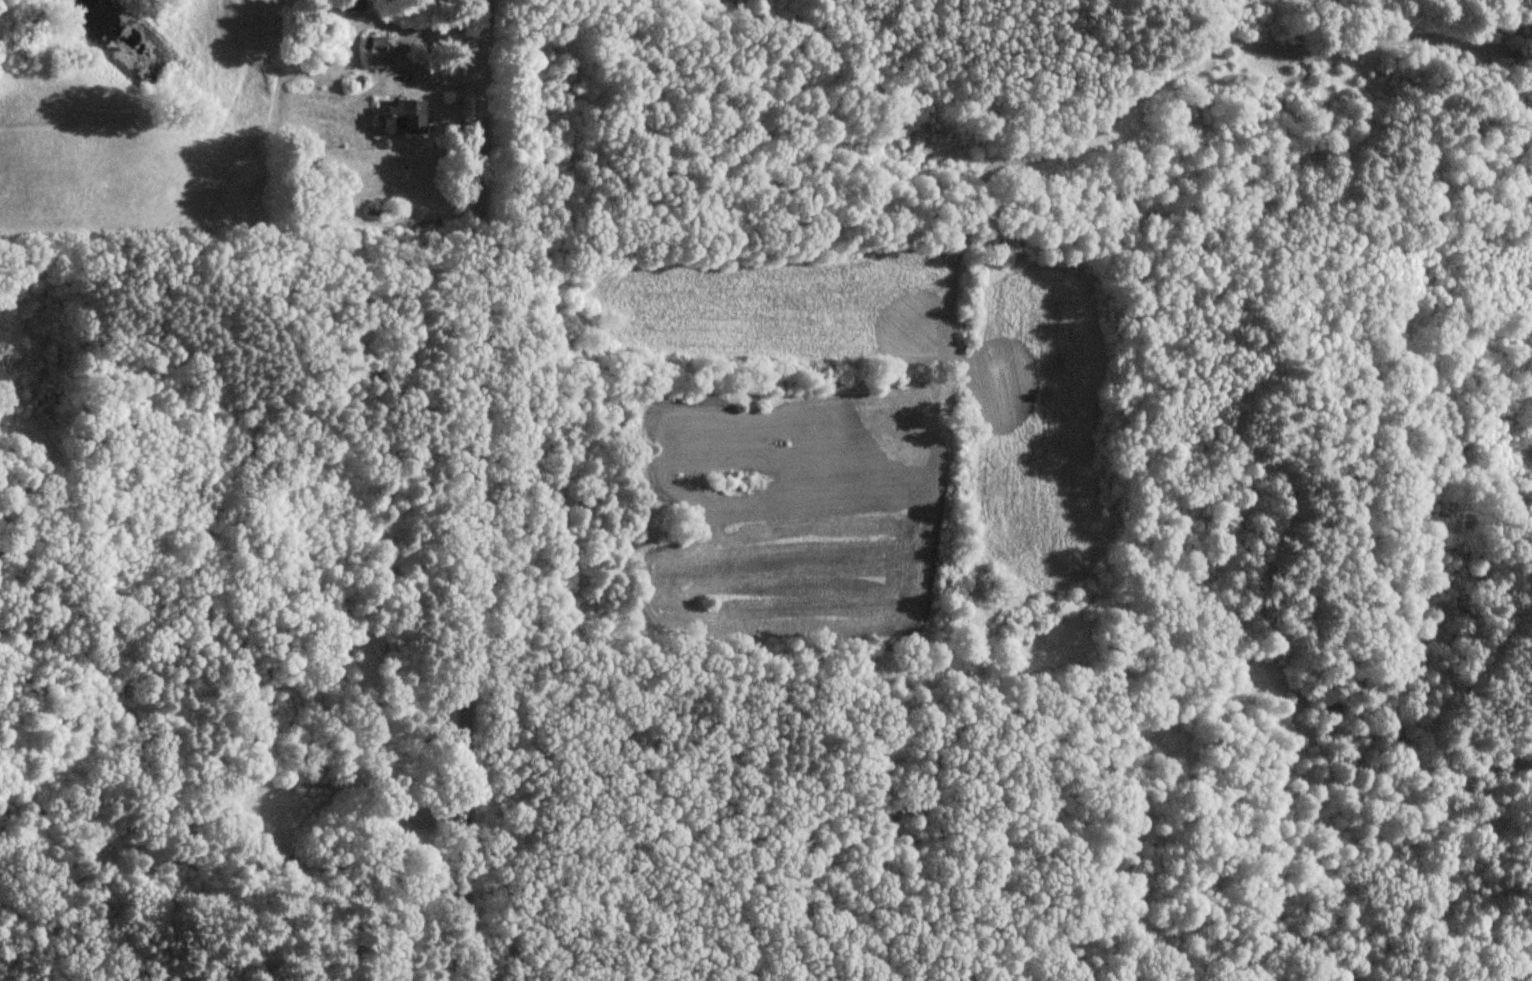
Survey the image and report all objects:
building: (347, 4)
road: (1379, 48)
building: (372, 51)
building: (403, 116)
road: (471, 490)

